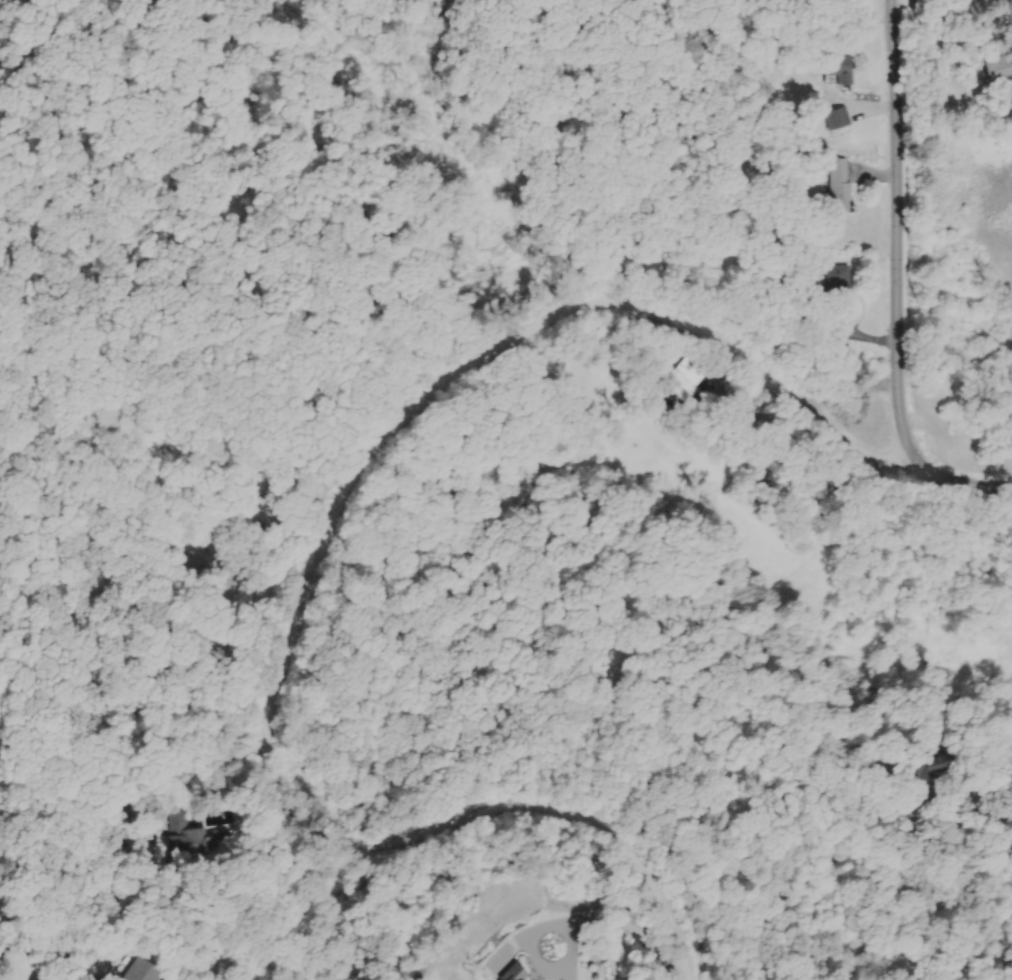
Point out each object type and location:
road: (928, 60)
building: (841, 68)
building: (1002, 69)
building: (840, 184)
road: (896, 240)
building: (838, 287)
building: (690, 380)
road: (968, 484)
building: (261, 531)
road: (329, 561)
road: (151, 790)
road: (991, 795)
building: (191, 843)
road: (545, 923)
road: (630, 928)
road: (42, 945)
road: (566, 971)
building: (518, 974)

